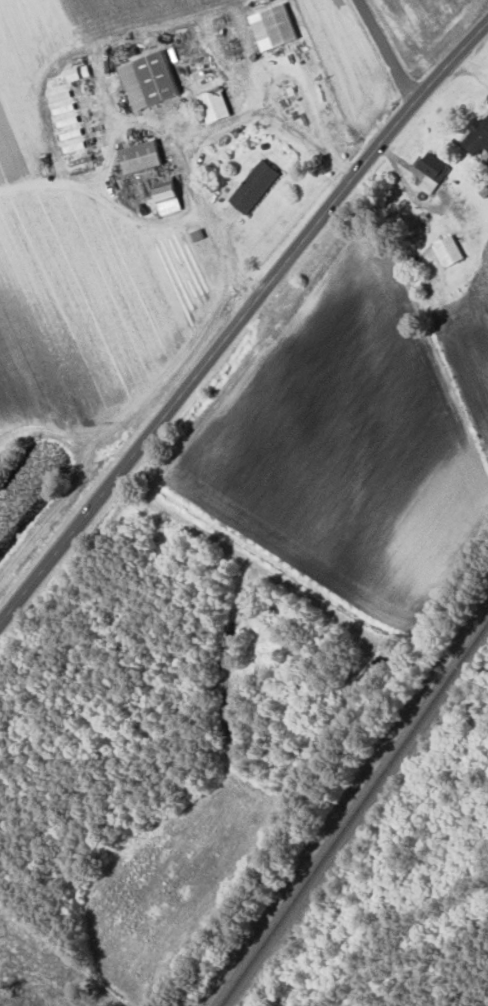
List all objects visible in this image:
building: (274, 25)
road: (384, 51)
building: (79, 71)
road: (468, 73)
road: (300, 75)
building: (150, 78)
building: (215, 103)
road: (193, 134)
building: (478, 135)
building: (142, 155)
building: (433, 171)
building: (256, 185)
building: (168, 195)
road: (242, 321)
railway: (354, 814)

